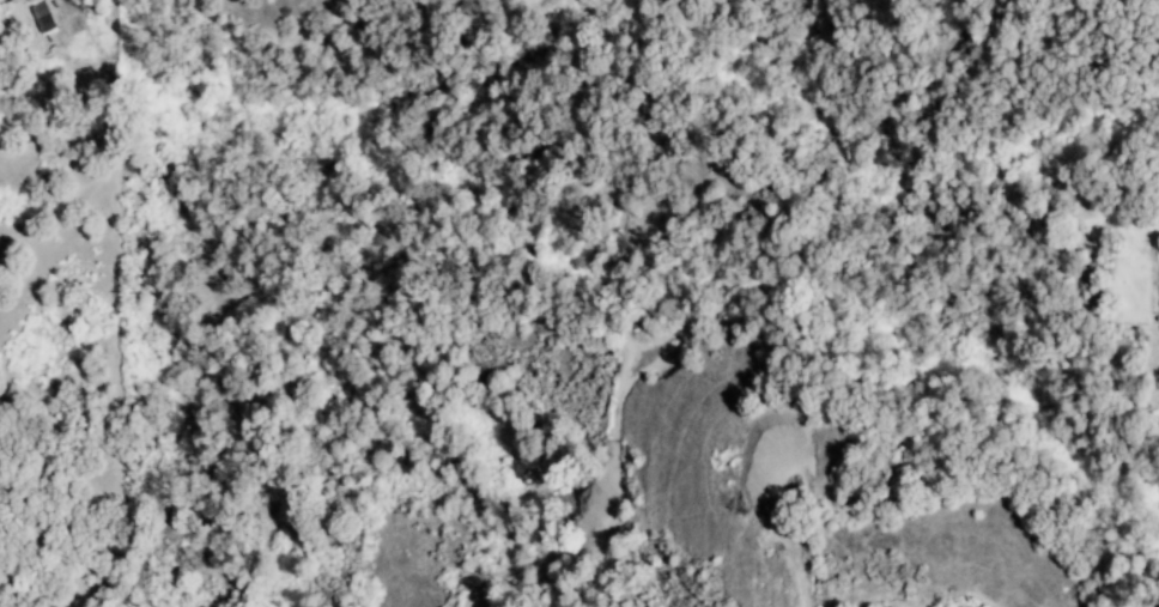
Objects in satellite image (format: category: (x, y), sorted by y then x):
building: (41, 17)

